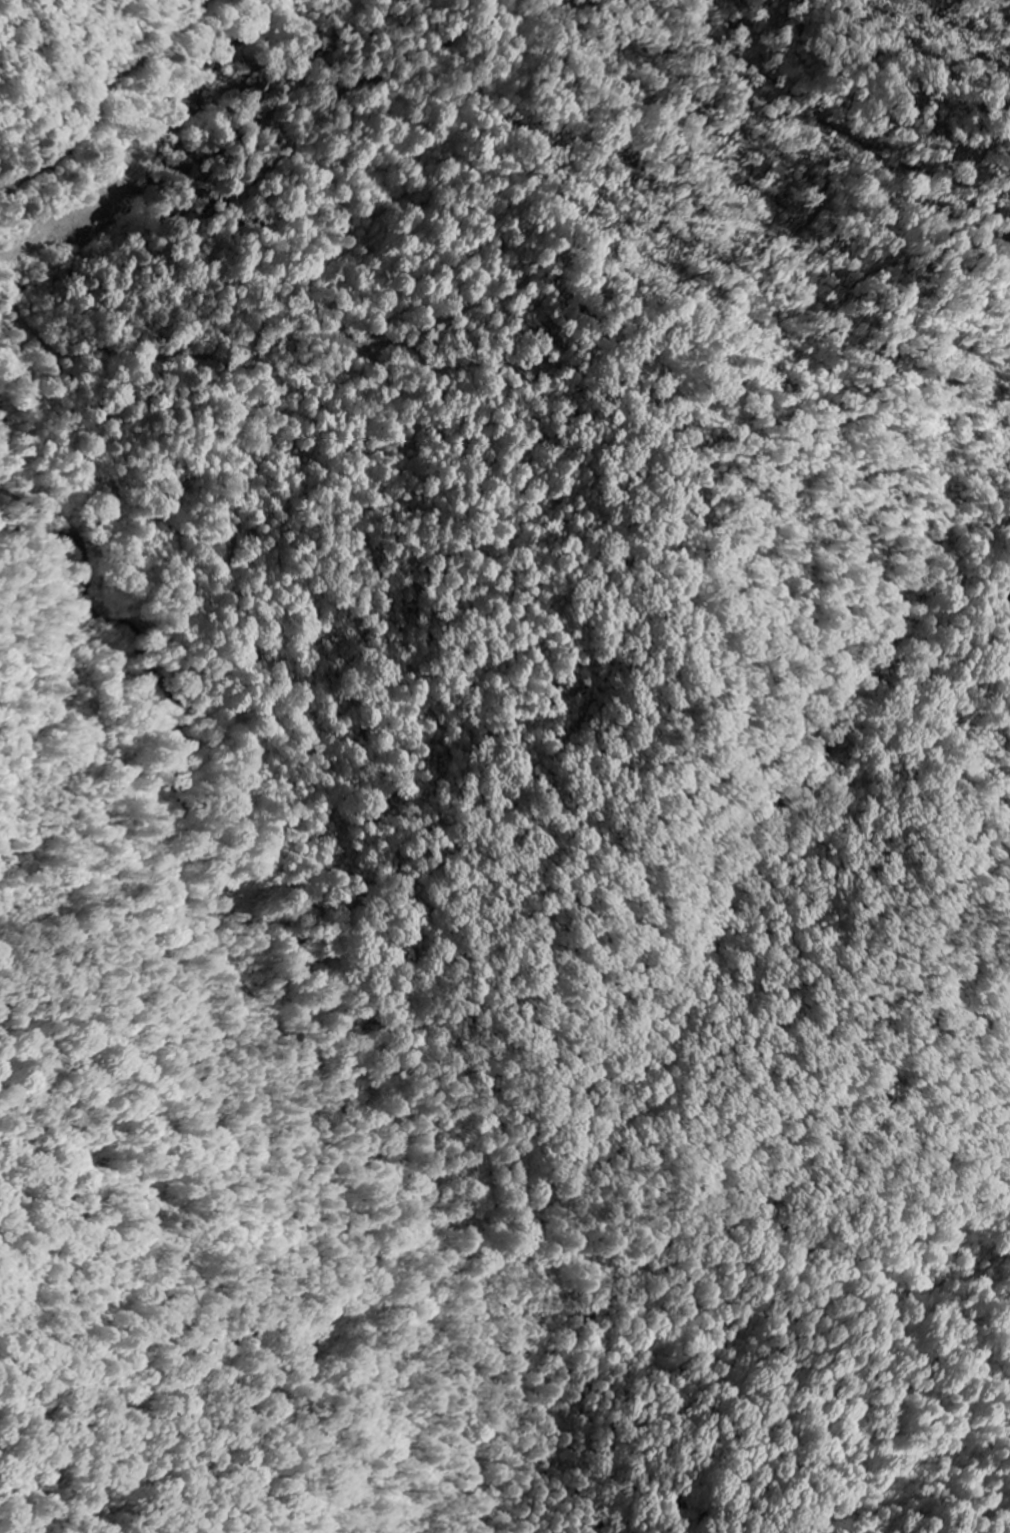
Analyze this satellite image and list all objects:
road: (102, 95)

